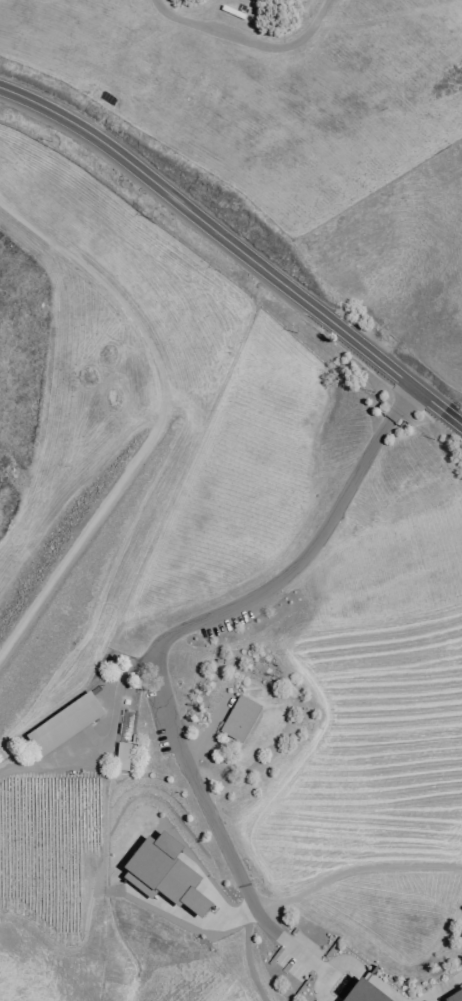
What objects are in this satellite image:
road: (246, 40)
road: (237, 245)
road: (161, 419)
dam: (78, 559)
road: (196, 623)
road: (112, 704)
building: (240, 718)
building: (64, 724)
building: (123, 756)
road: (35, 763)
road: (356, 868)
building: (163, 874)
road: (231, 917)
road: (324, 969)
road: (442, 988)
building: (364, 993)
building: (454, 995)

